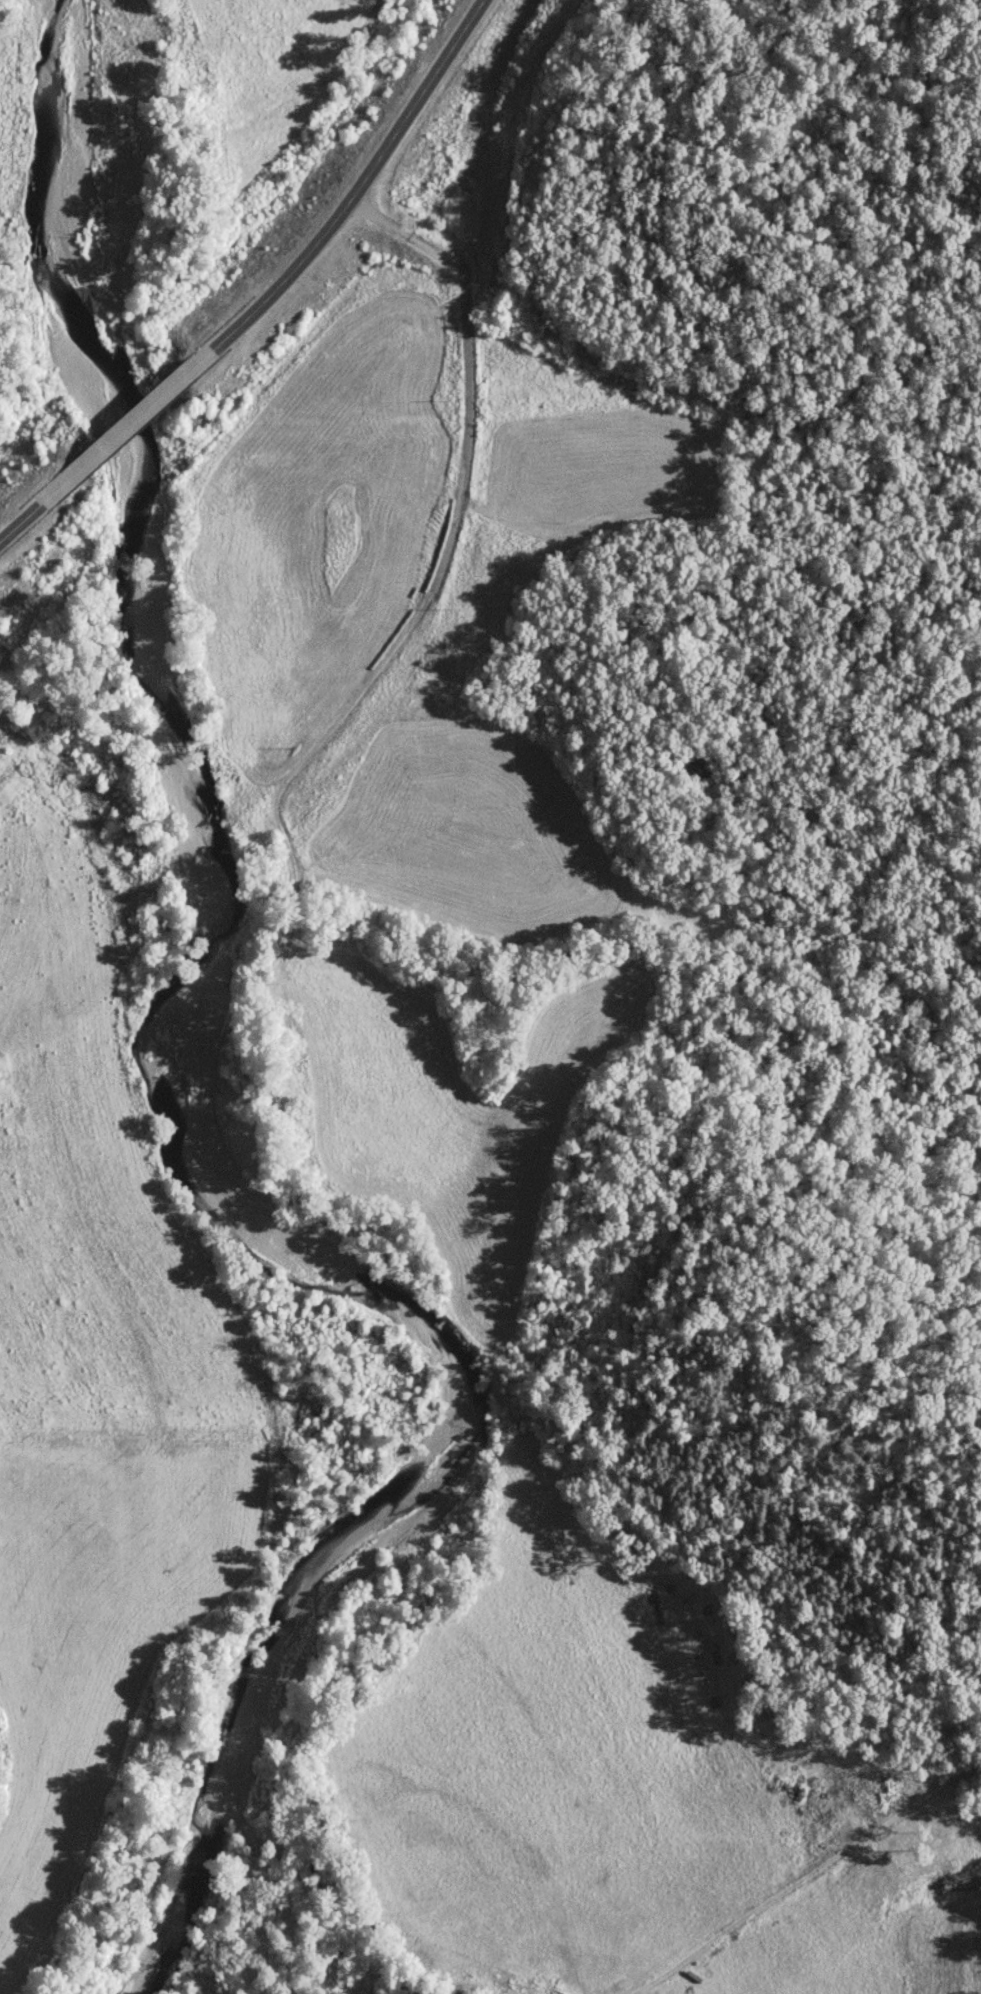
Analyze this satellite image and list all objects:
road: (360, 186)
road: (124, 424)
road: (22, 524)
road: (802, 1877)

